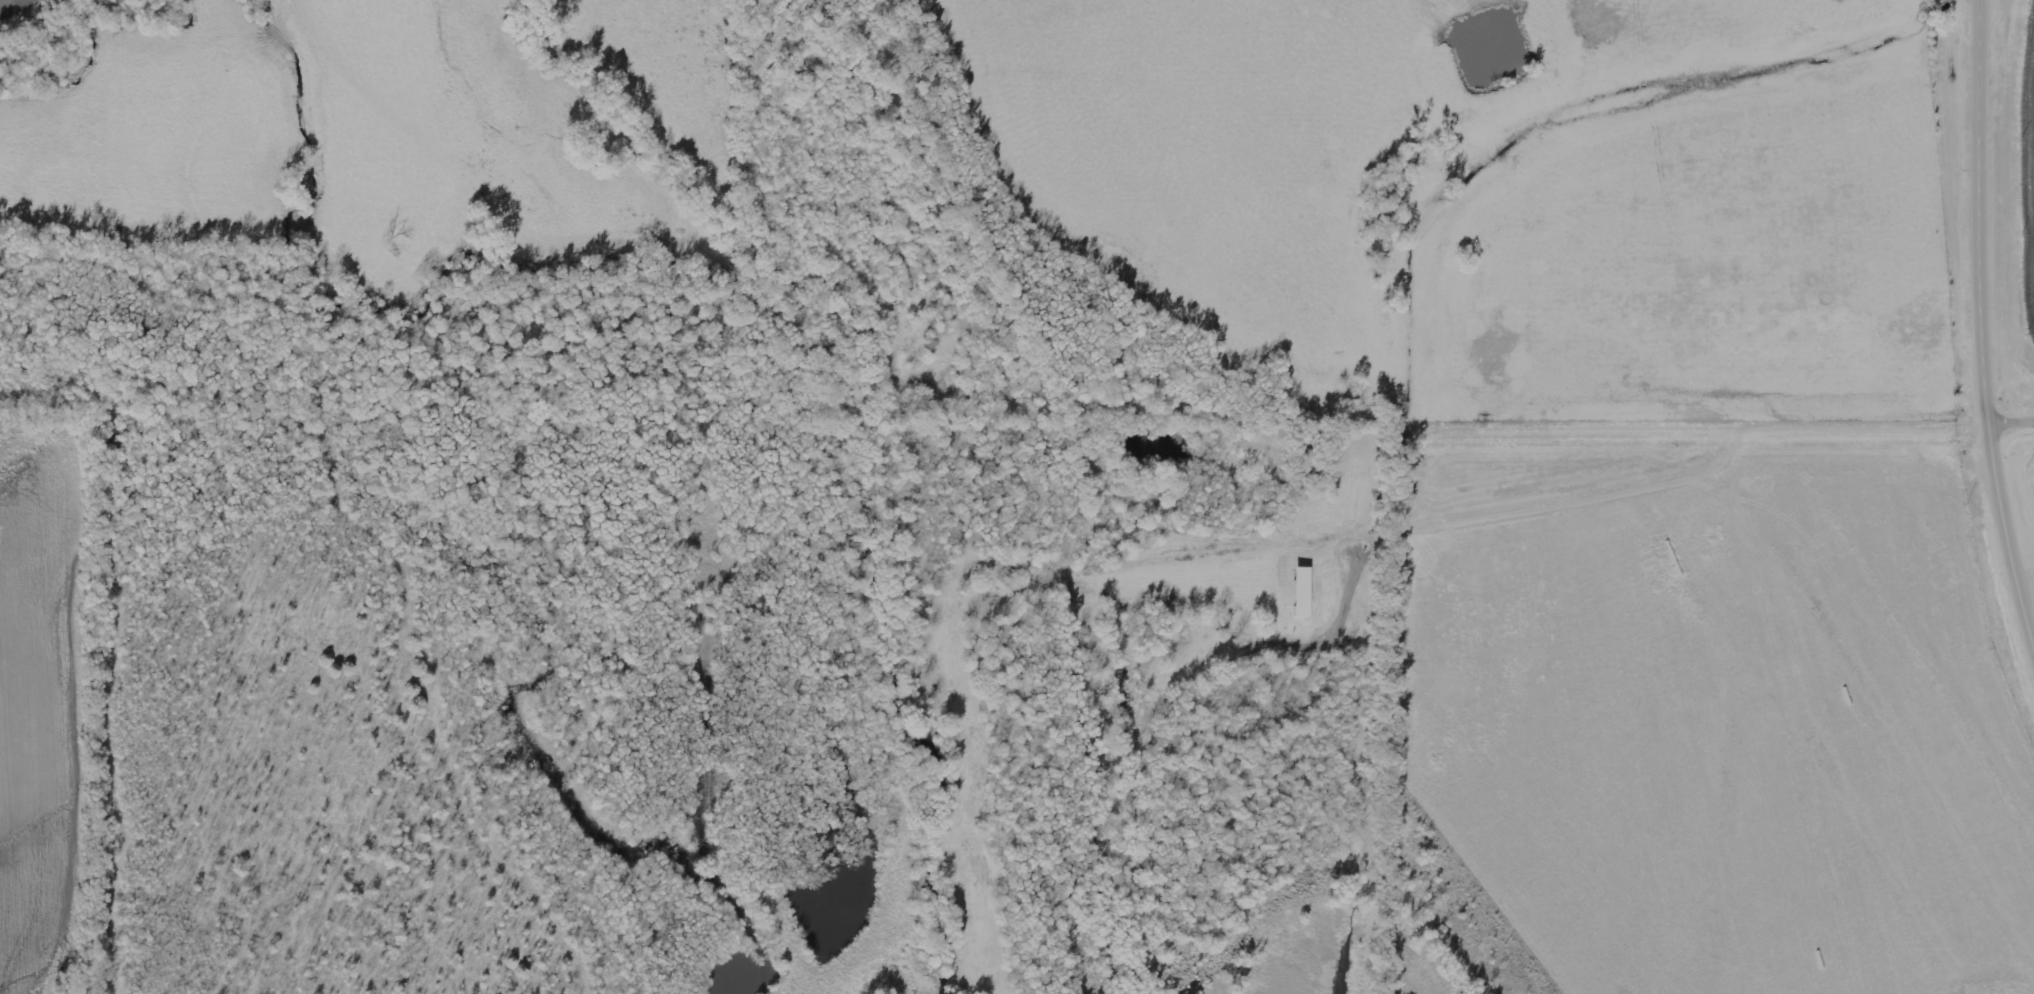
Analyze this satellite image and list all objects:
road: (1979, 336)
road: (2010, 427)

